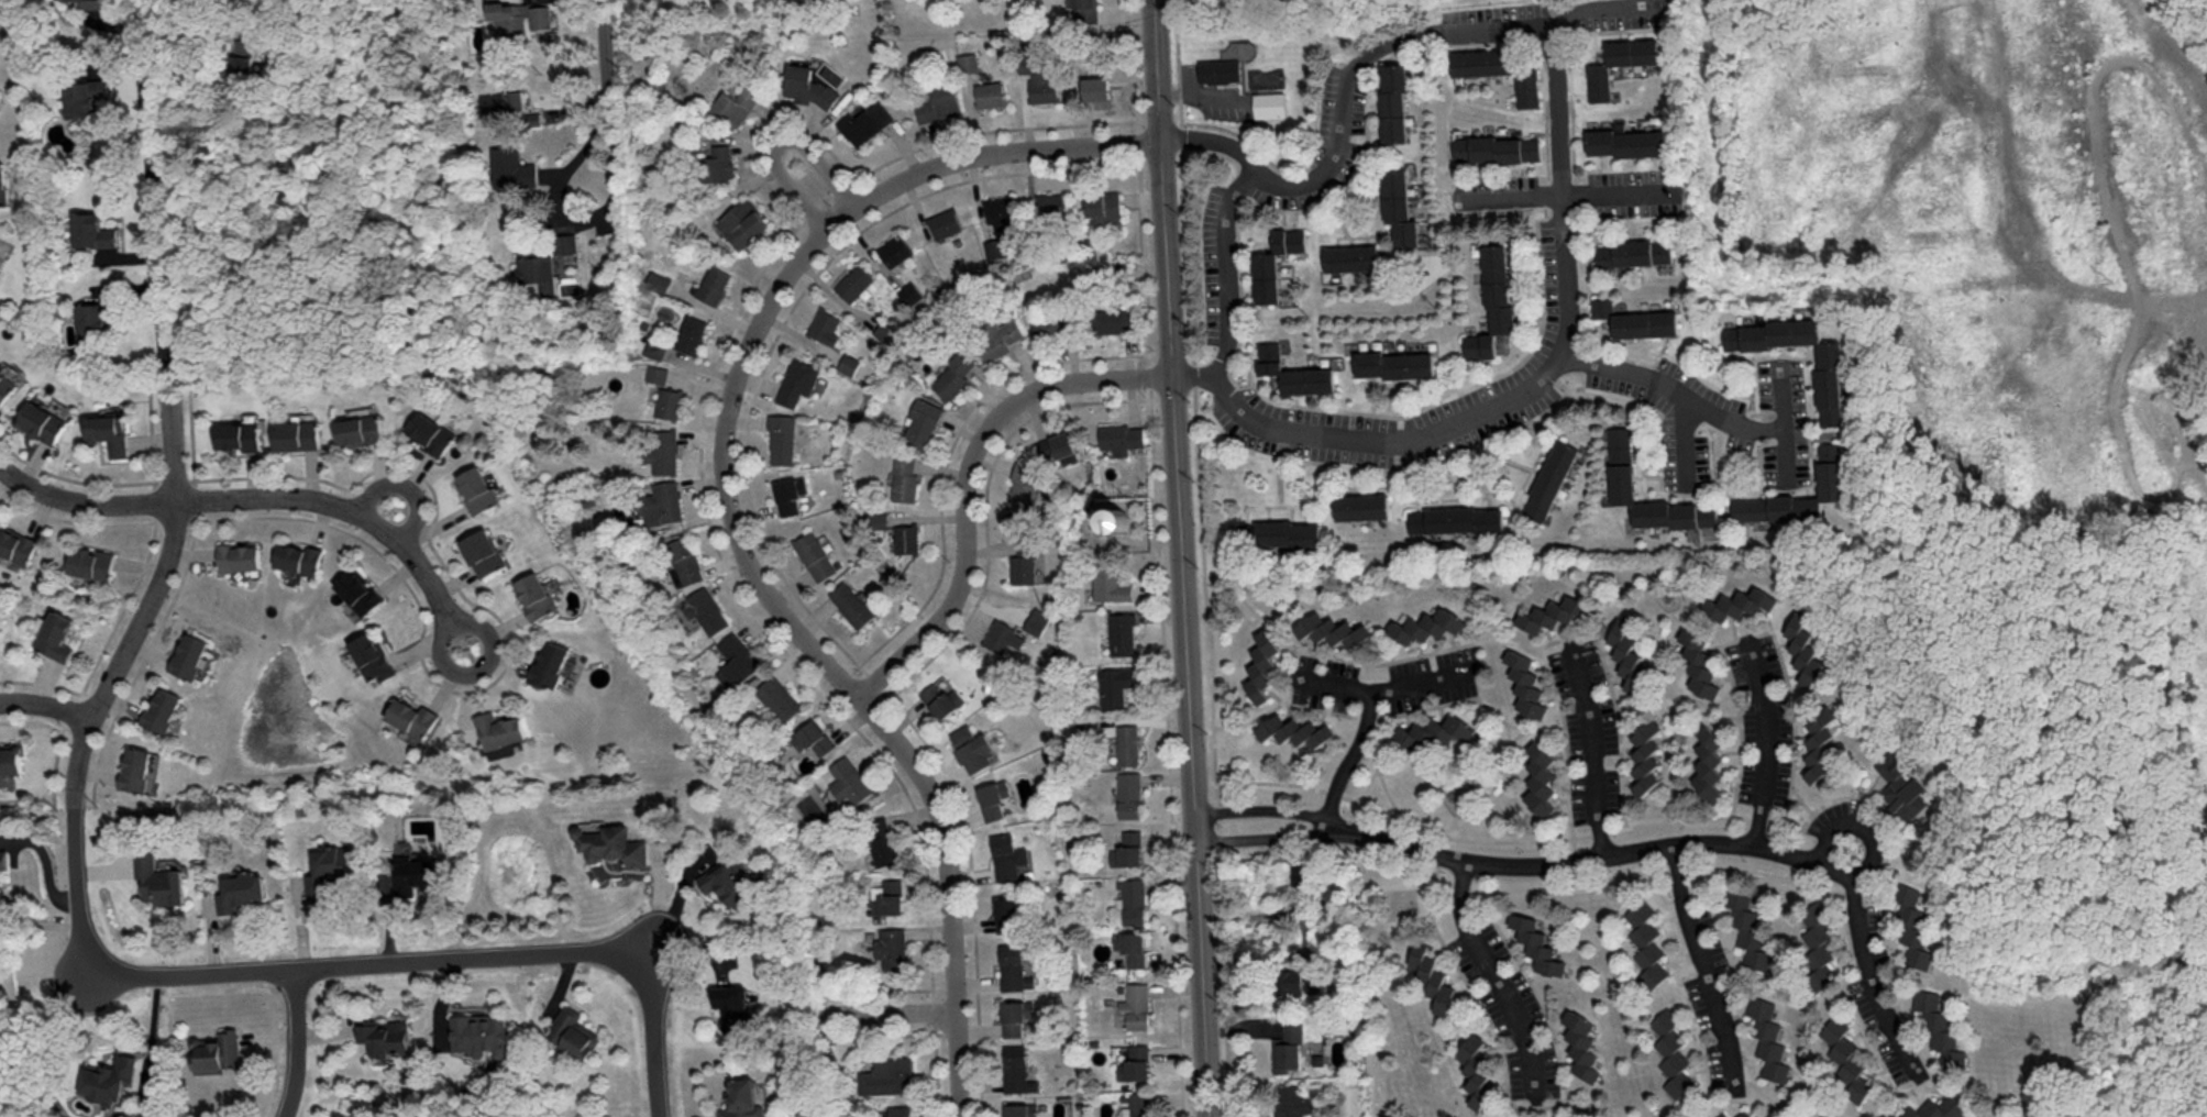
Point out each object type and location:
building: (95, 3)
building: (1086, 10)
road: (164, 15)
building: (519, 16)
road: (1611, 16)
building: (1634, 52)
building: (241, 58)
building: (969, 65)
building: (1220, 69)
road: (1155, 70)
building: (1498, 70)
building: (1599, 81)
building: (808, 86)
building: (1045, 87)
building: (1096, 87)
building: (991, 92)
building: (85, 95)
building: (1395, 102)
building: (939, 103)
building: (1270, 103)
building: (735, 104)
building: (510, 106)
road: (605, 117)
building: (865, 122)
road: (1215, 141)
building: (1626, 141)
building: (1496, 148)
building: (718, 163)
building: (511, 168)
building: (3, 183)
road: (1609, 192)
road: (819, 193)
road: (1515, 193)
building: (1049, 204)
building: (1399, 207)
building: (1102, 208)
building: (997, 209)
building: (740, 222)
building: (942, 222)
road: (1565, 223)
building: (92, 230)
building: (563, 242)
building: (893, 250)
building: (1632, 252)
building: (1351, 257)
road: (1163, 258)
building: (1276, 263)
road: (1228, 267)
building: (534, 269)
building: (655, 281)
building: (852, 281)
building: (709, 284)
road: (162, 285)
building: (907, 291)
building: (1492, 301)
building: (1113, 319)
building: (1636, 319)
building: (90, 321)
building: (1050, 323)
building: (821, 325)
building: (687, 333)
building: (995, 336)
building: (653, 346)
building: (846, 363)
building: (1394, 364)
building: (1294, 372)
building: (655, 373)
building: (950, 375)
building: (794, 380)
building: (5, 386)
road: (1660, 386)
building: (1829, 387)
building: (667, 402)
building: (42, 421)
building: (919, 422)
road: (1745, 423)
building: (357, 430)
building: (109, 432)
building: (427, 432)
building: (297, 434)
building: (240, 435)
building: (1121, 436)
building: (780, 438)
building: (1056, 446)
building: (662, 451)
building: (1622, 463)
building: (1828, 468)
building: (903, 477)
road: (961, 479)
building: (1549, 479)
road: (405, 485)
building: (1022, 486)
building: (473, 488)
building: (788, 494)
road: (84, 500)
building: (664, 502)
building: (1362, 506)
road: (339, 508)
road: (729, 516)
building: (875, 519)
building: (1117, 519)
building: (1455, 519)
building: (1279, 533)
building: (904, 538)
building: (16, 543)
building: (482, 552)
building: (813, 554)
building: (240, 555)
building: (300, 557)
building: (684, 561)
building: (92, 563)
building: (1022, 563)
building: (1110, 584)
building: (361, 590)
building: (533, 595)
building: (1739, 602)
building: (850, 604)
building: (705, 609)
building: (1544, 617)
building: (1035, 620)
building: (1426, 624)
building: (1331, 630)
building: (1122, 633)
building: (58, 634)
building: (1002, 635)
building: (1624, 646)
building: (1805, 649)
building: (190, 654)
building: (376, 655)
building: (737, 661)
building: (1698, 663)
building: (549, 664)
building: (1261, 664)
road: (479, 670)
building: (1526, 684)
building: (1116, 685)
road: (1382, 688)
building: (779, 697)
building: (940, 698)
road: (46, 707)
building: (163, 710)
building: (416, 717)
building: (501, 729)
road: (88, 730)
building: (1295, 730)
building: (1434, 733)
building: (813, 738)
road: (1768, 739)
building: (1127, 743)
building: (1819, 743)
road: (1190, 745)
building: (972, 748)
road: (1594, 748)
building: (500, 751)
building: (1645, 756)
building: (11, 757)
road: (1357, 757)
building: (1708, 763)
building: (136, 768)
building: (1541, 778)
building: (849, 779)
building: (1902, 787)
building: (1128, 794)
building: (993, 797)
road: (1265, 811)
road: (1860, 825)
building: (882, 840)
building: (611, 844)
road: (1267, 847)
building: (1127, 849)
building: (1006, 855)
road: (1592, 856)
building: (3, 859)
road: (43, 863)
building: (328, 869)
building: (416, 873)
building: (157, 880)
building: (728, 881)
building: (241, 891)
building: (892, 896)
building: (1132, 899)
building: (1006, 915)
building: (1912, 927)
building: (1746, 930)
building: (1646, 943)
building: (1536, 944)
building: (892, 947)
building: (1134, 948)
building: (1817, 951)
road: (454, 961)
building: (1013, 967)
road: (1703, 974)
building: (1433, 978)
road: (1497, 978)
road: (1869, 981)
building: (1293, 982)
building: (1136, 1005)
building: (732, 1006)
road: (883, 1011)
building: (1016, 1017)
building: (1939, 1027)
building: (573, 1031)
building: (478, 1032)
building: (384, 1036)
road: (152, 1037)
building: (1766, 1038)
road: (297, 1043)
building: (1580, 1043)
building: (1288, 1048)
building: (213, 1051)
building: (1671, 1053)
building: (1845, 1059)
building: (1135, 1062)
building: (1016, 1070)
building: (1476, 1070)
building: (887, 1075)
building: (111, 1077)
building: (741, 1099)
building: (1291, 1102)
building: (1139, 1105)
building: (1930, 1108)
building: (1022, 1109)
building: (901, 1110)
building: (1721, 1114)
building: (1742, 1114)
building: (1764, 1114)
building: (1544, 1115)
building: (1700, 1115)
building: (1524, 1116)

